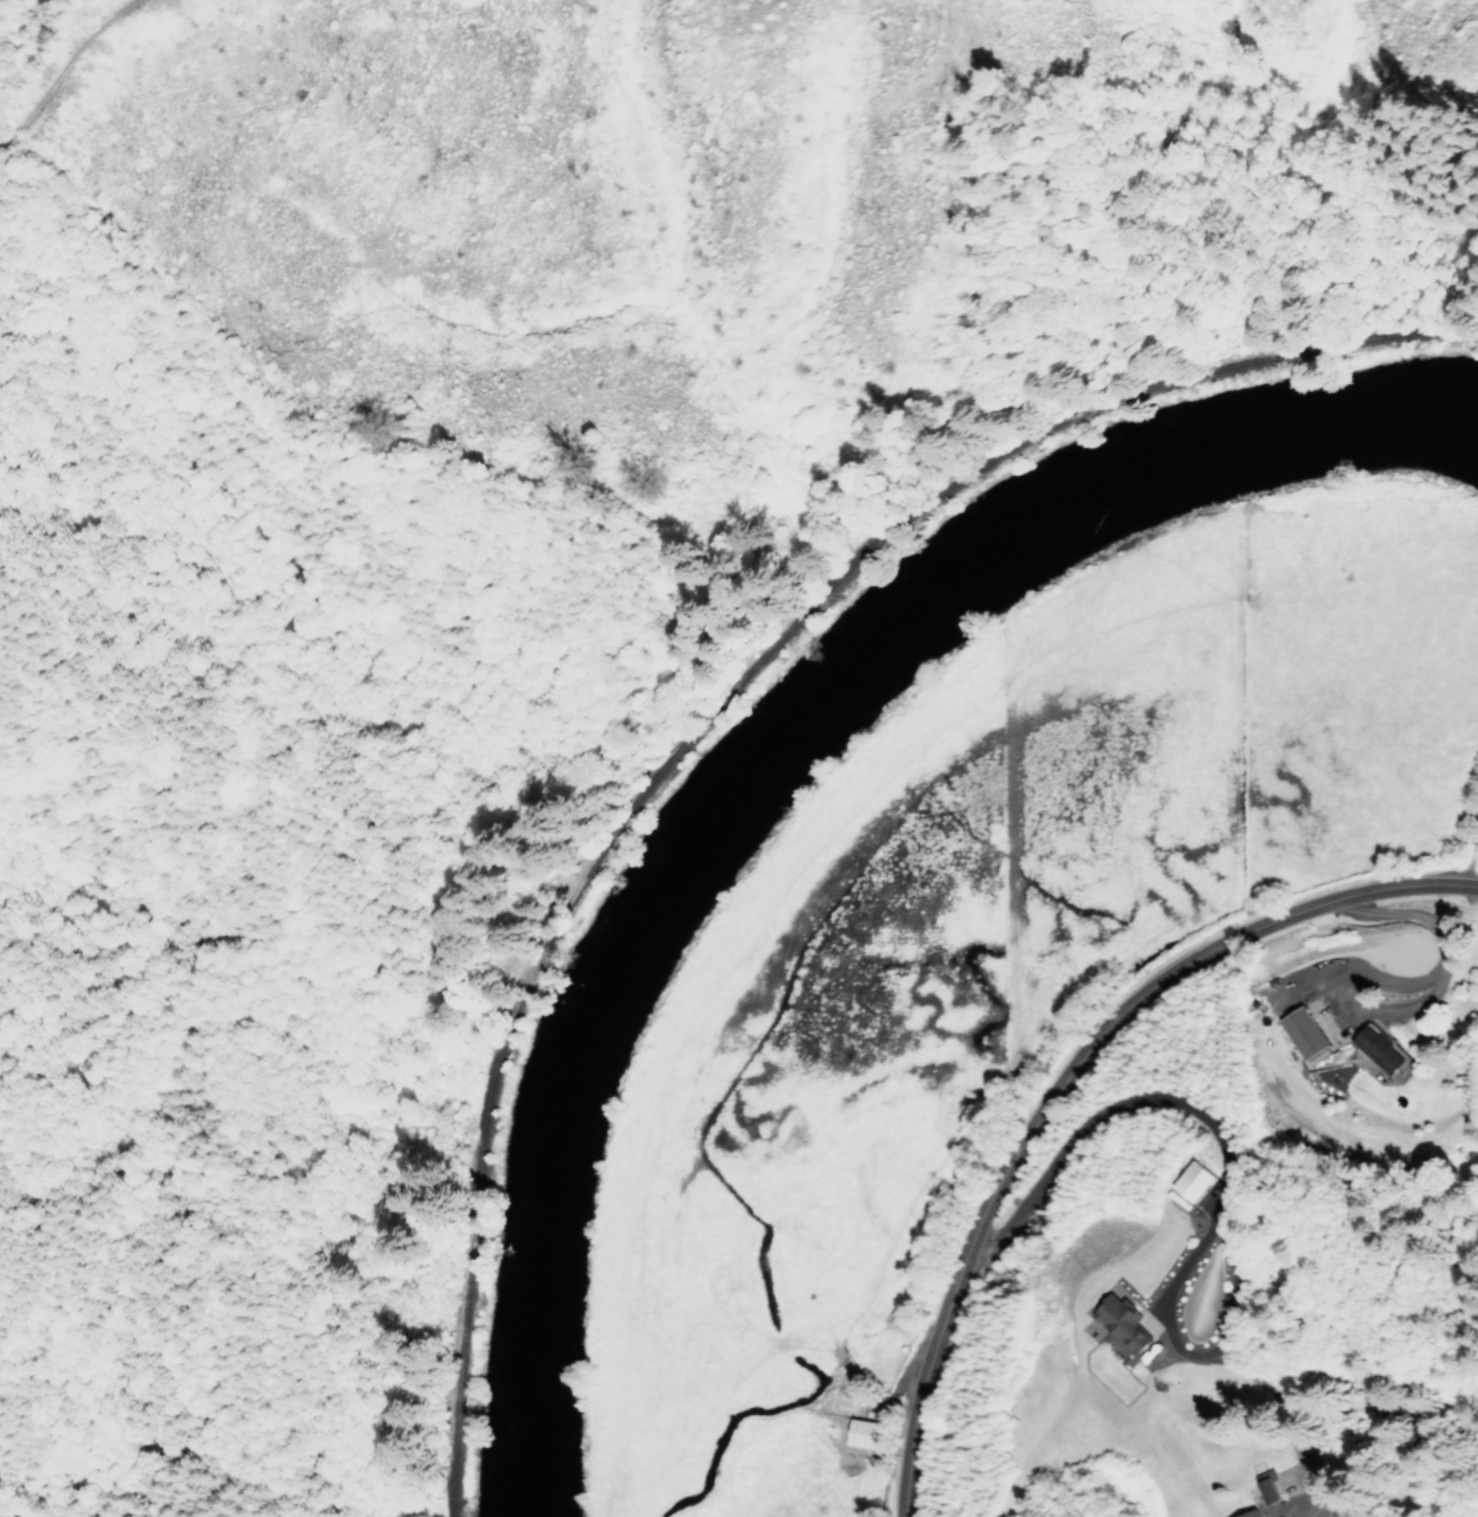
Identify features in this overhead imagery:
road: (11, 14)
railway: (681, 687)
river: (776, 767)
building: (1304, 1031)
building: (1378, 1048)
road: (1067, 1079)
building: (1195, 1180)
road: (1226, 1186)
building: (1125, 1321)
building: (1269, 1489)
building: (1251, 1513)

